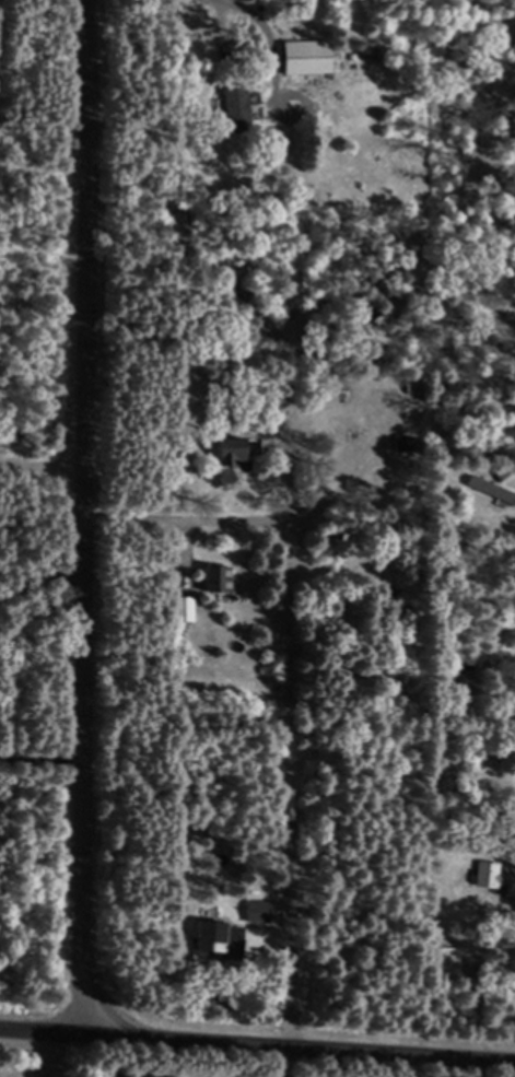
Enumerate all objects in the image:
road: (249, 10)
building: (305, 57)
building: (242, 109)
building: (269, 417)
building: (233, 450)
road: (42, 465)
building: (491, 489)
road: (82, 515)
road: (186, 516)
building: (219, 580)
road: (40, 583)
building: (185, 608)
building: (495, 879)
building: (258, 911)
building: (219, 940)
road: (295, 988)
road: (257, 1042)

